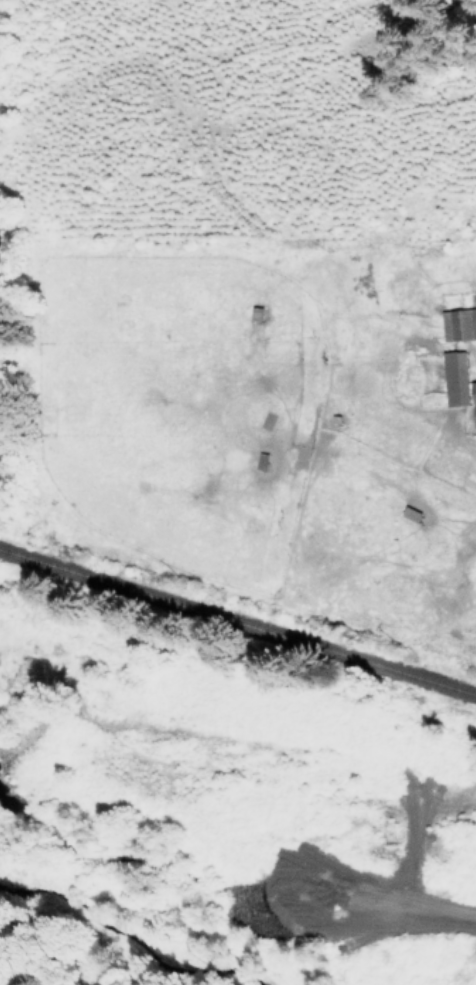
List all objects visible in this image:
building: (458, 323)
building: (454, 377)
building: (473, 400)
building: (260, 460)
railway: (238, 627)

